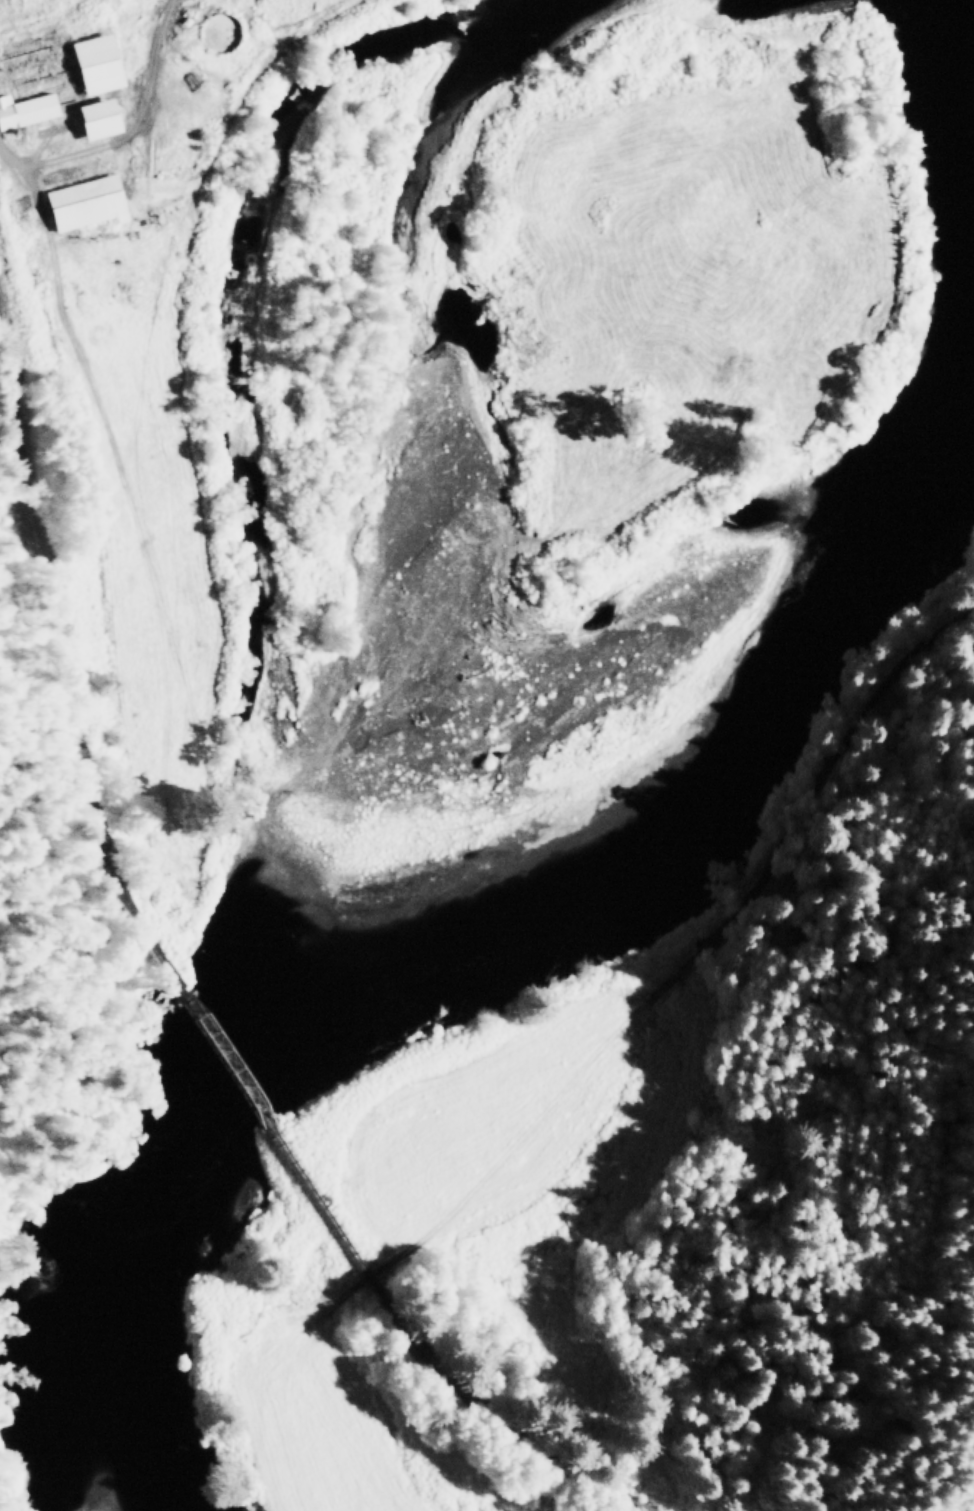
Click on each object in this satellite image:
river: (972, 62)
building: (92, 63)
building: (25, 108)
building: (93, 117)
building: (81, 202)
river: (239, 272)
railway: (64, 655)
river: (238, 857)
river: (515, 926)
railway: (232, 1063)
crop: (494, 1114)
railway: (449, 1359)
crop: (342, 1430)

